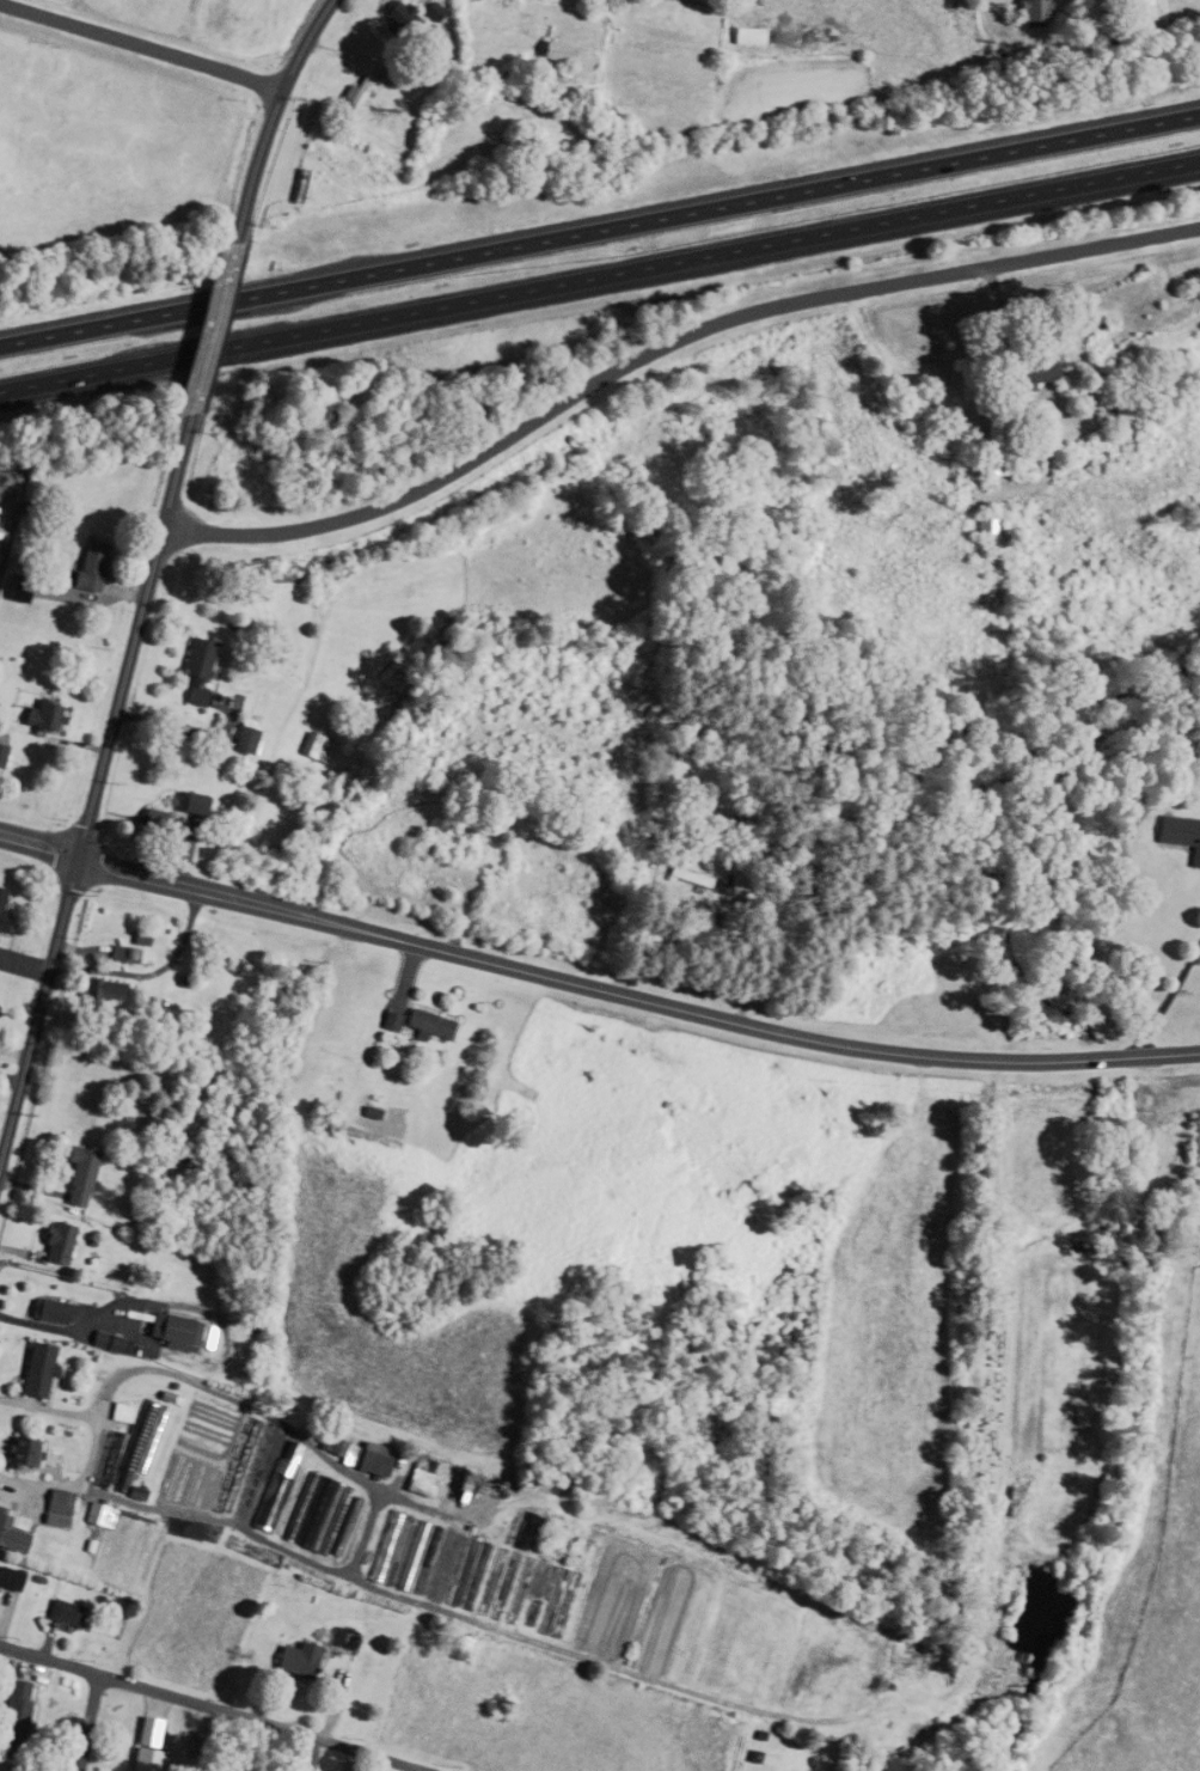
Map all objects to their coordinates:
building: (1033, 10)
building: (397, 18)
road: (990, 18)
building: (746, 36)
road: (142, 44)
building: (353, 96)
road: (273, 118)
road: (599, 228)
road: (599, 275)
road: (213, 331)
road: (663, 341)
building: (1025, 370)
building: (1122, 411)
building: (986, 465)
building: (1039, 506)
building: (975, 524)
building: (85, 564)
building: (8, 585)
building: (192, 668)
building: (36, 716)
building: (241, 737)
building: (316, 747)
building: (1091, 749)
road: (96, 790)
building: (152, 820)
building: (1177, 837)
building: (687, 874)
building: (137, 938)
building: (122, 952)
road: (594, 982)
building: (102, 989)
road: (1167, 999)
building: (385, 1019)
building: (423, 1022)
building: (75, 1167)
building: (54, 1240)
building: (50, 1311)
building: (173, 1332)
building: (104, 1342)
building: (35, 1369)
building: (118, 1412)
building: (137, 1435)
road: (92, 1443)
building: (22, 1452)
building: (354, 1453)
building: (421, 1474)
building: (277, 1485)
building: (54, 1504)
building: (322, 1513)
building: (10, 1532)
building: (106, 1539)
building: (135, 1552)
building: (6, 1586)
building: (62, 1610)
building: (341, 1637)
building: (295, 1657)
road: (213, 1706)
building: (11, 1710)
road: (91, 1722)
building: (143, 1759)

